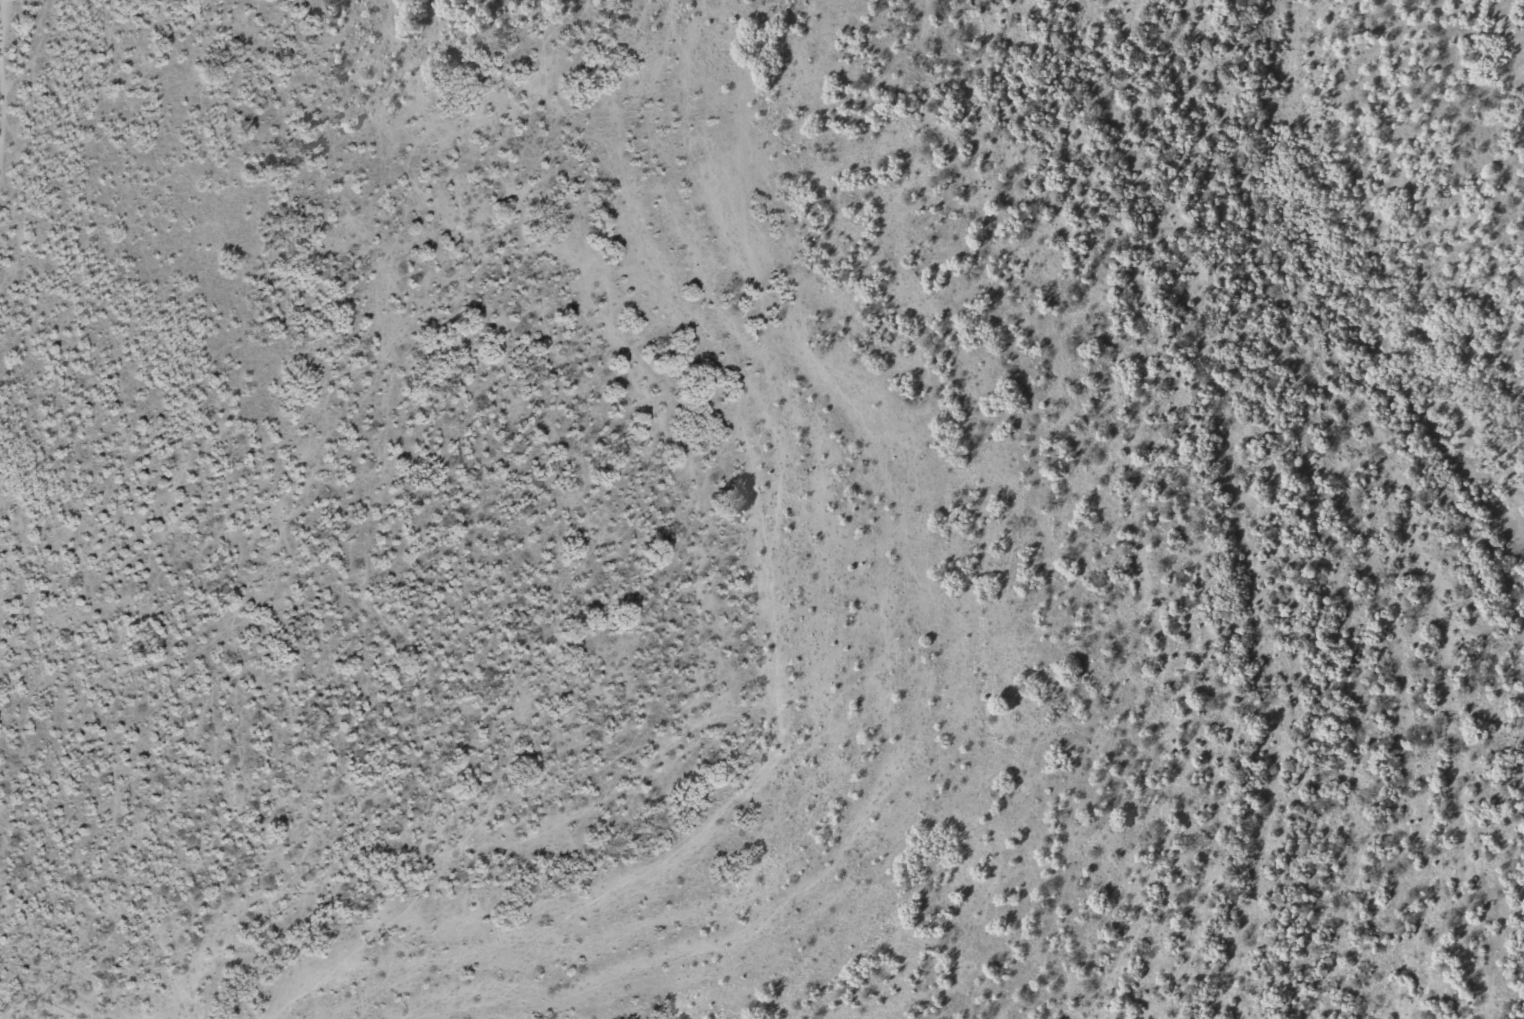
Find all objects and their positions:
road: (1314, 338)

